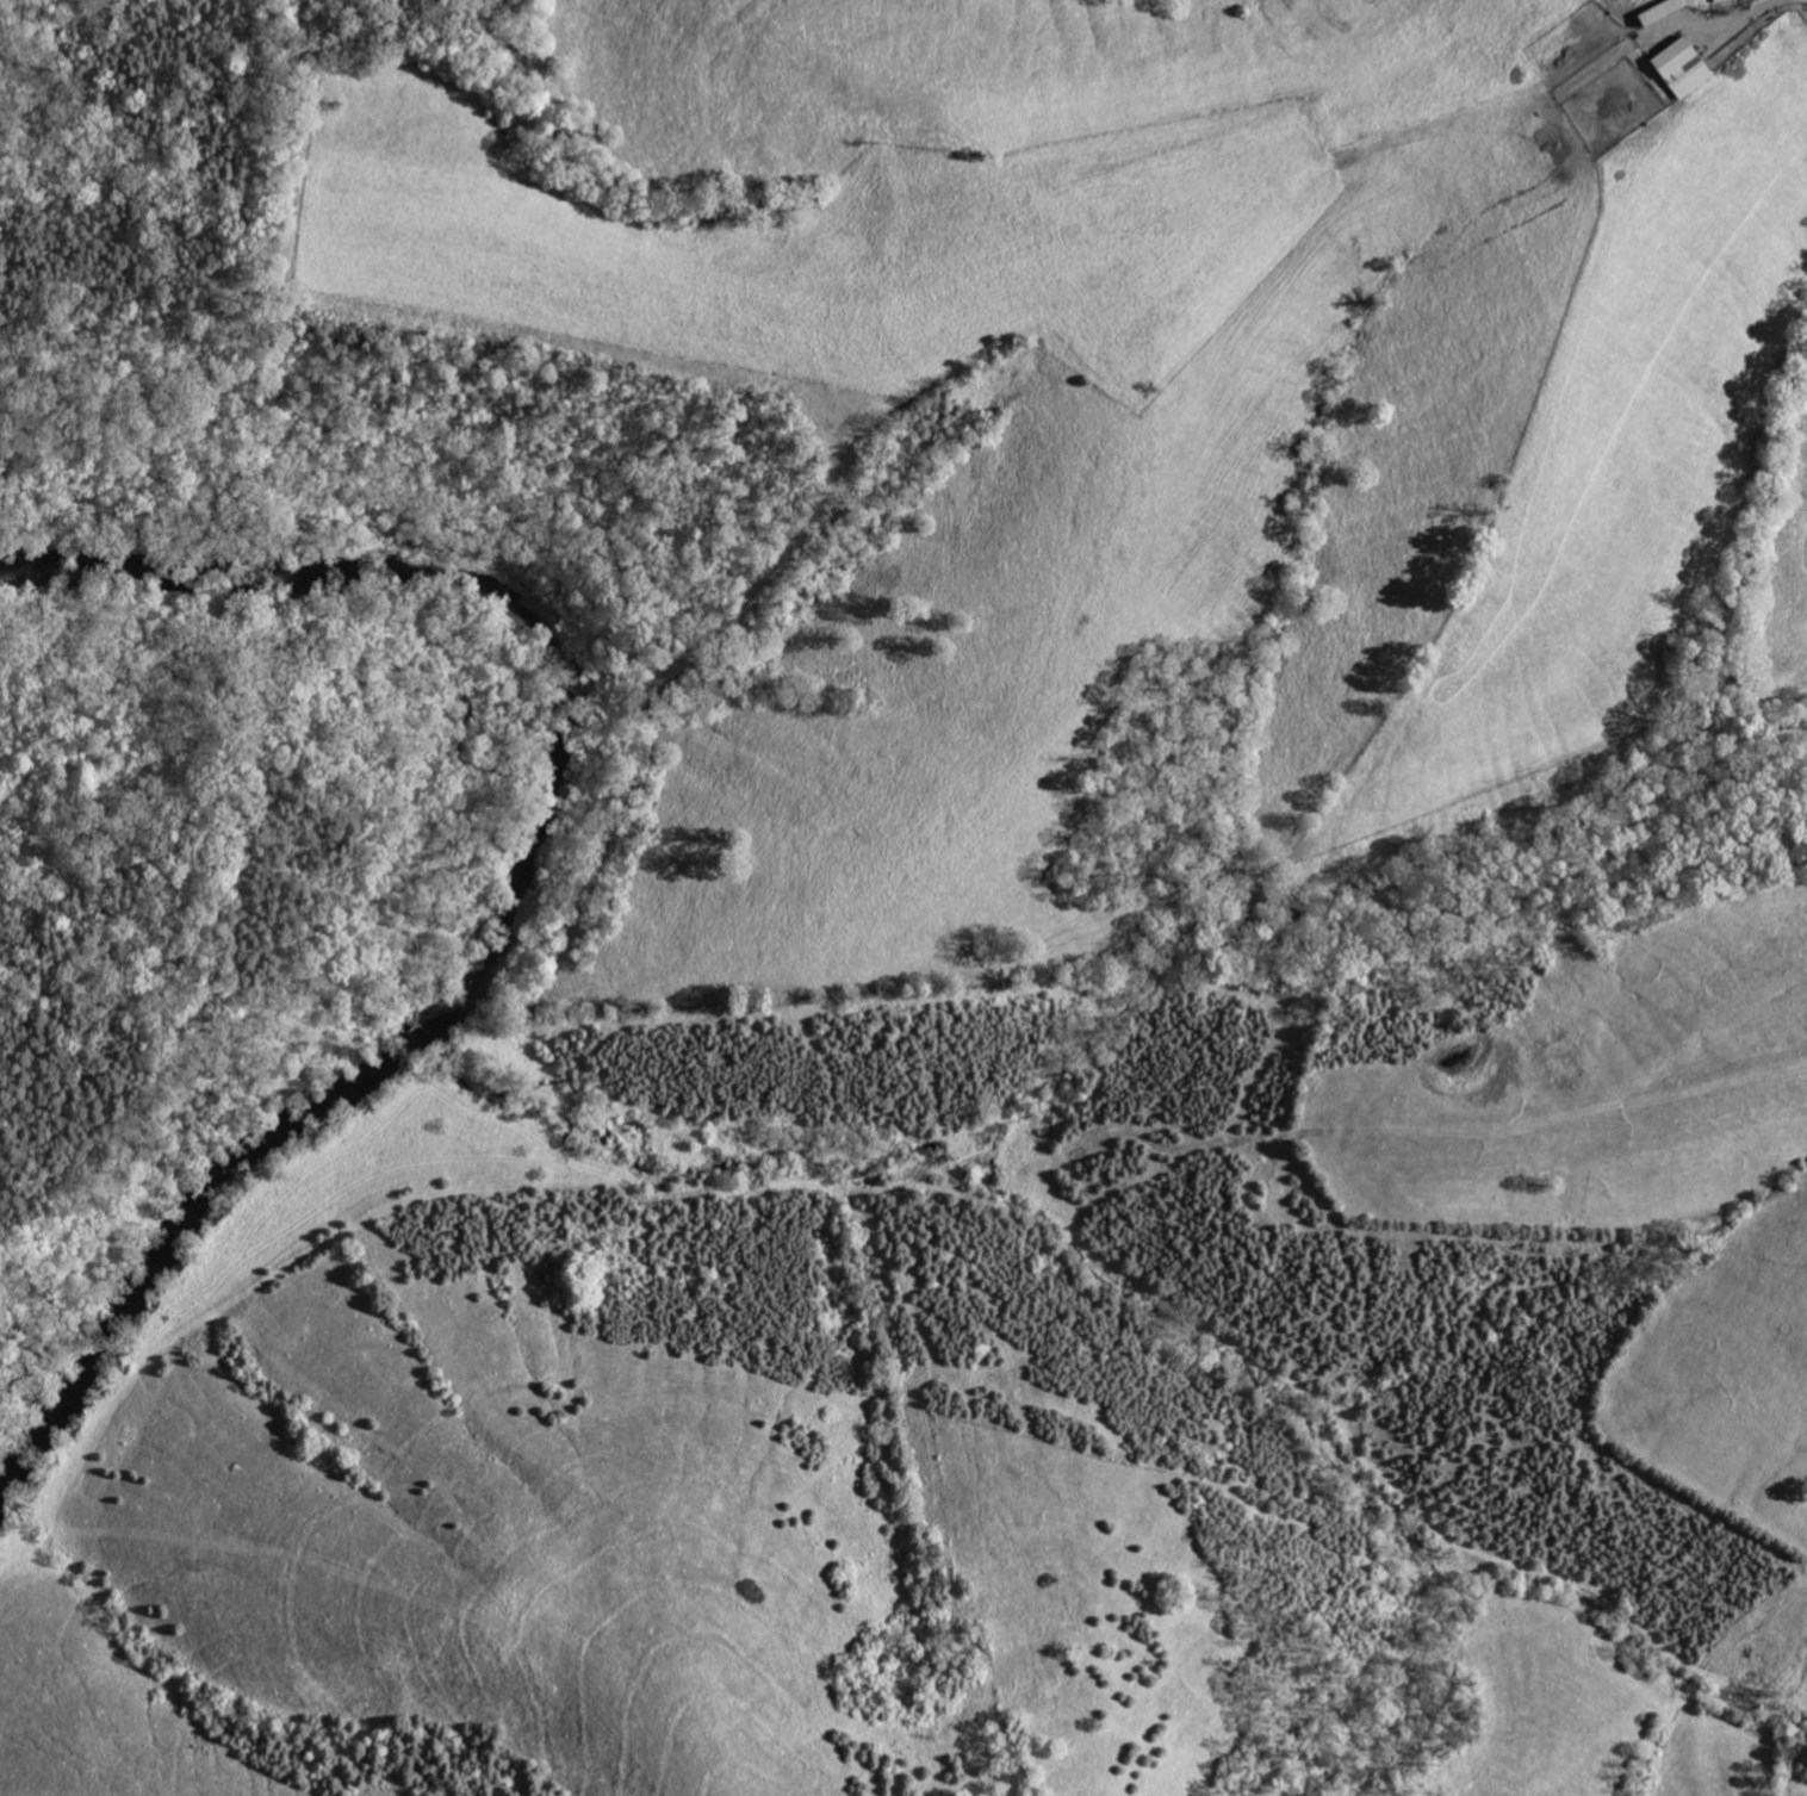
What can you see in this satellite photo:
building: (1676, 68)

